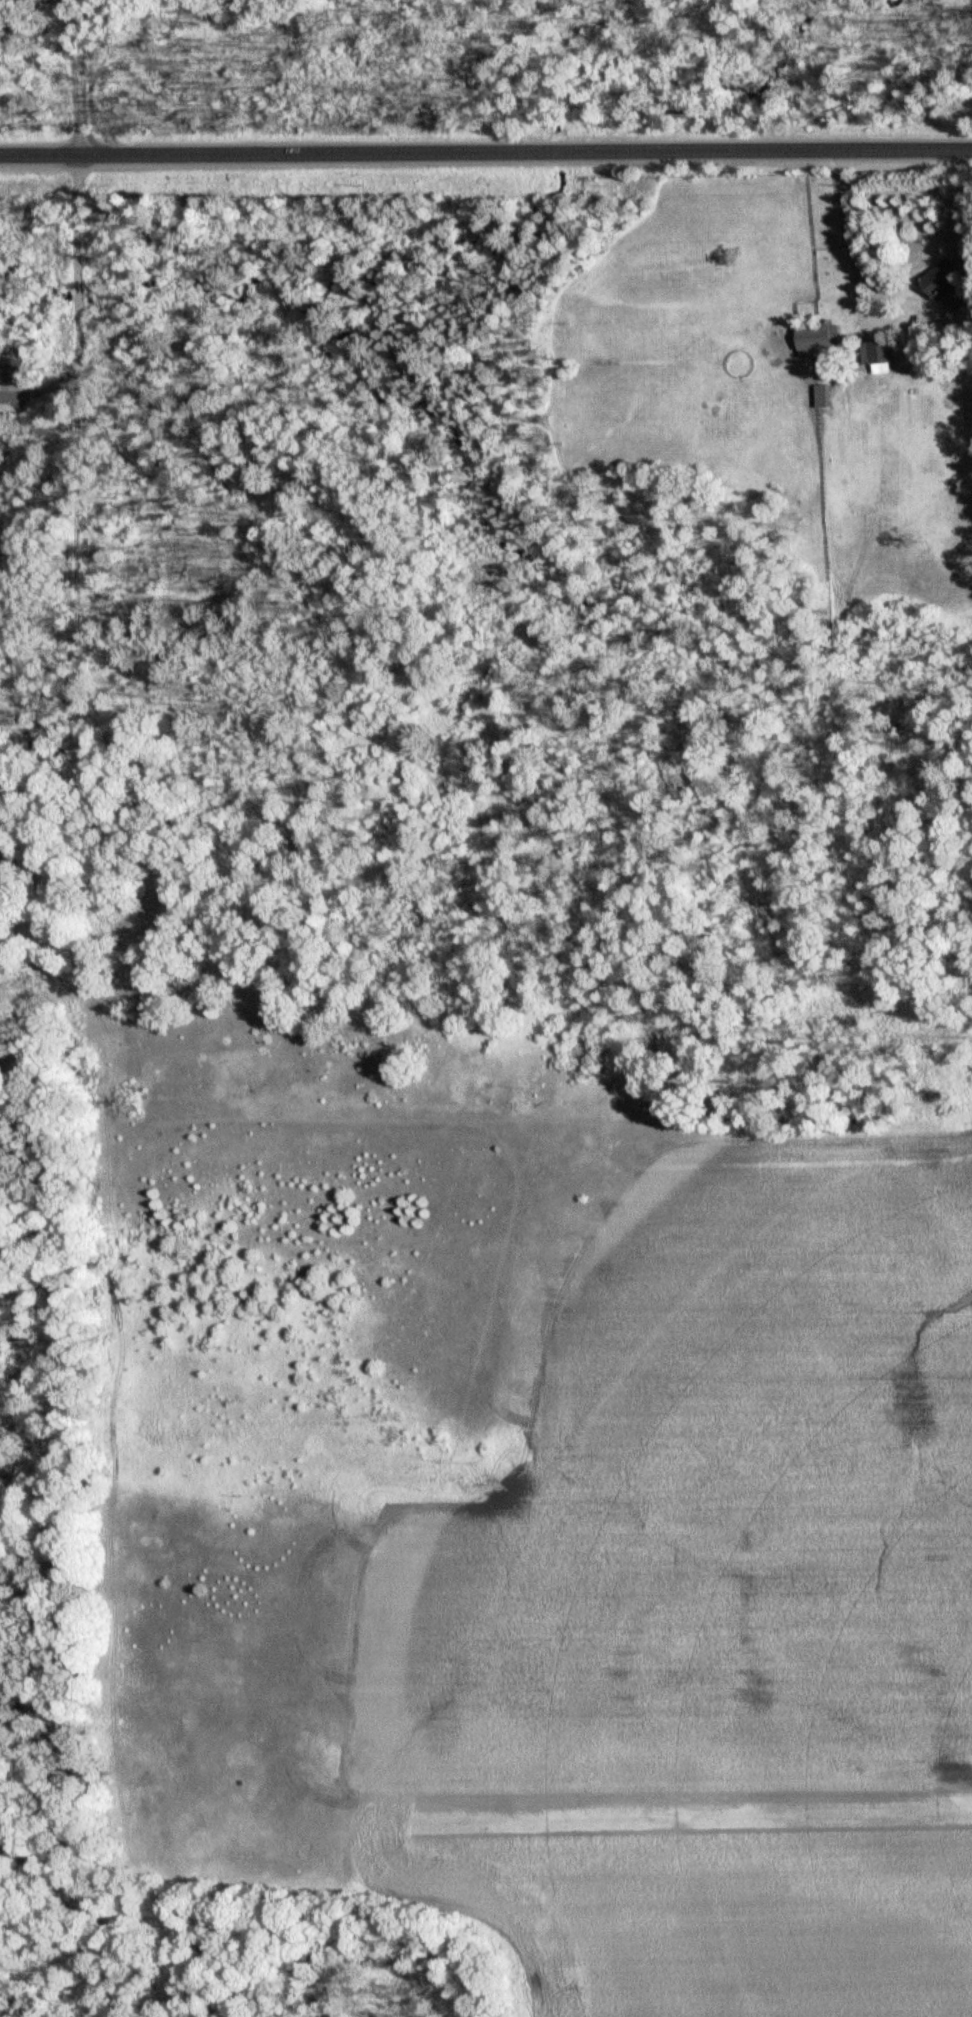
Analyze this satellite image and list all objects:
road: (485, 153)
road: (846, 236)
building: (939, 279)
building: (816, 337)
building: (874, 352)
building: (13, 369)
road: (77, 966)

